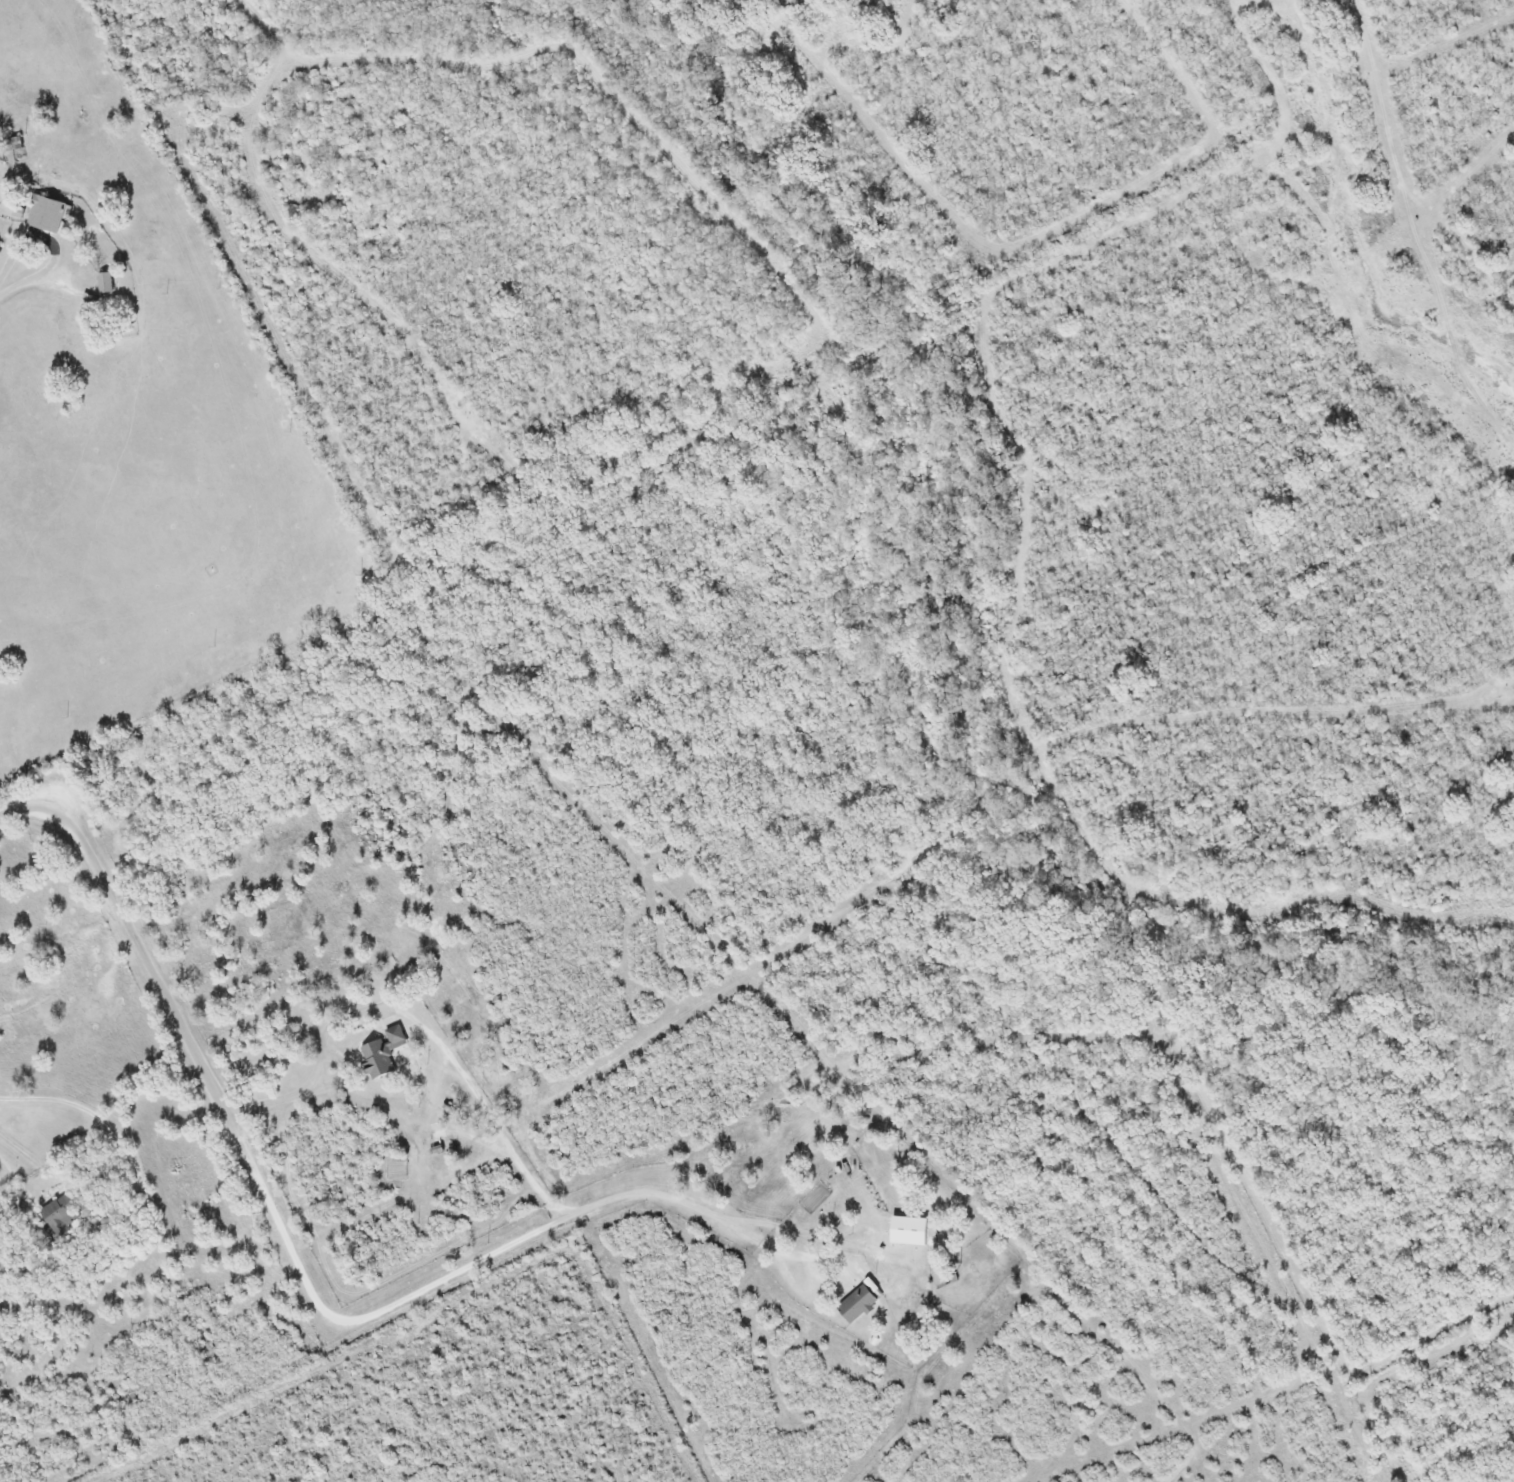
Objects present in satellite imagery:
building: (46, 213)
road: (14, 242)
building: (105, 282)
building: (382, 1052)
road: (73, 1111)
road: (46, 1160)
building: (60, 1212)
building: (908, 1230)
building: (857, 1304)
road: (1381, 1440)

